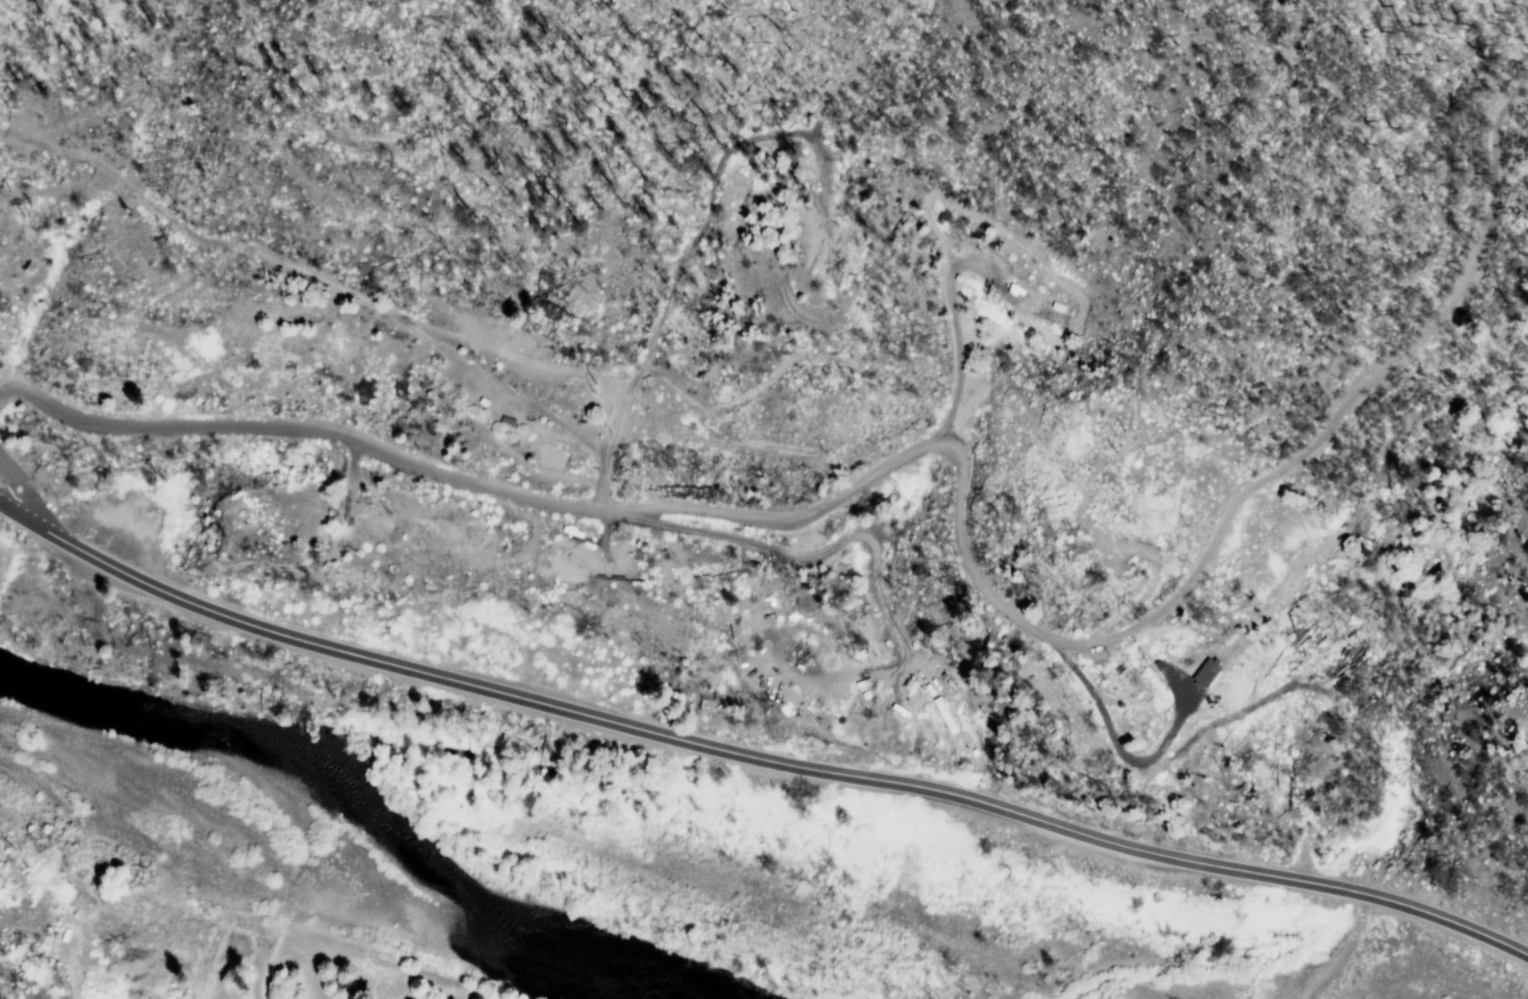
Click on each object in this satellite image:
power tower: (586, 387)
power tower: (1110, 438)
road: (1301, 481)
road: (18, 486)
road: (484, 500)
road: (758, 748)
river: (353, 808)
building: (443, 998)

